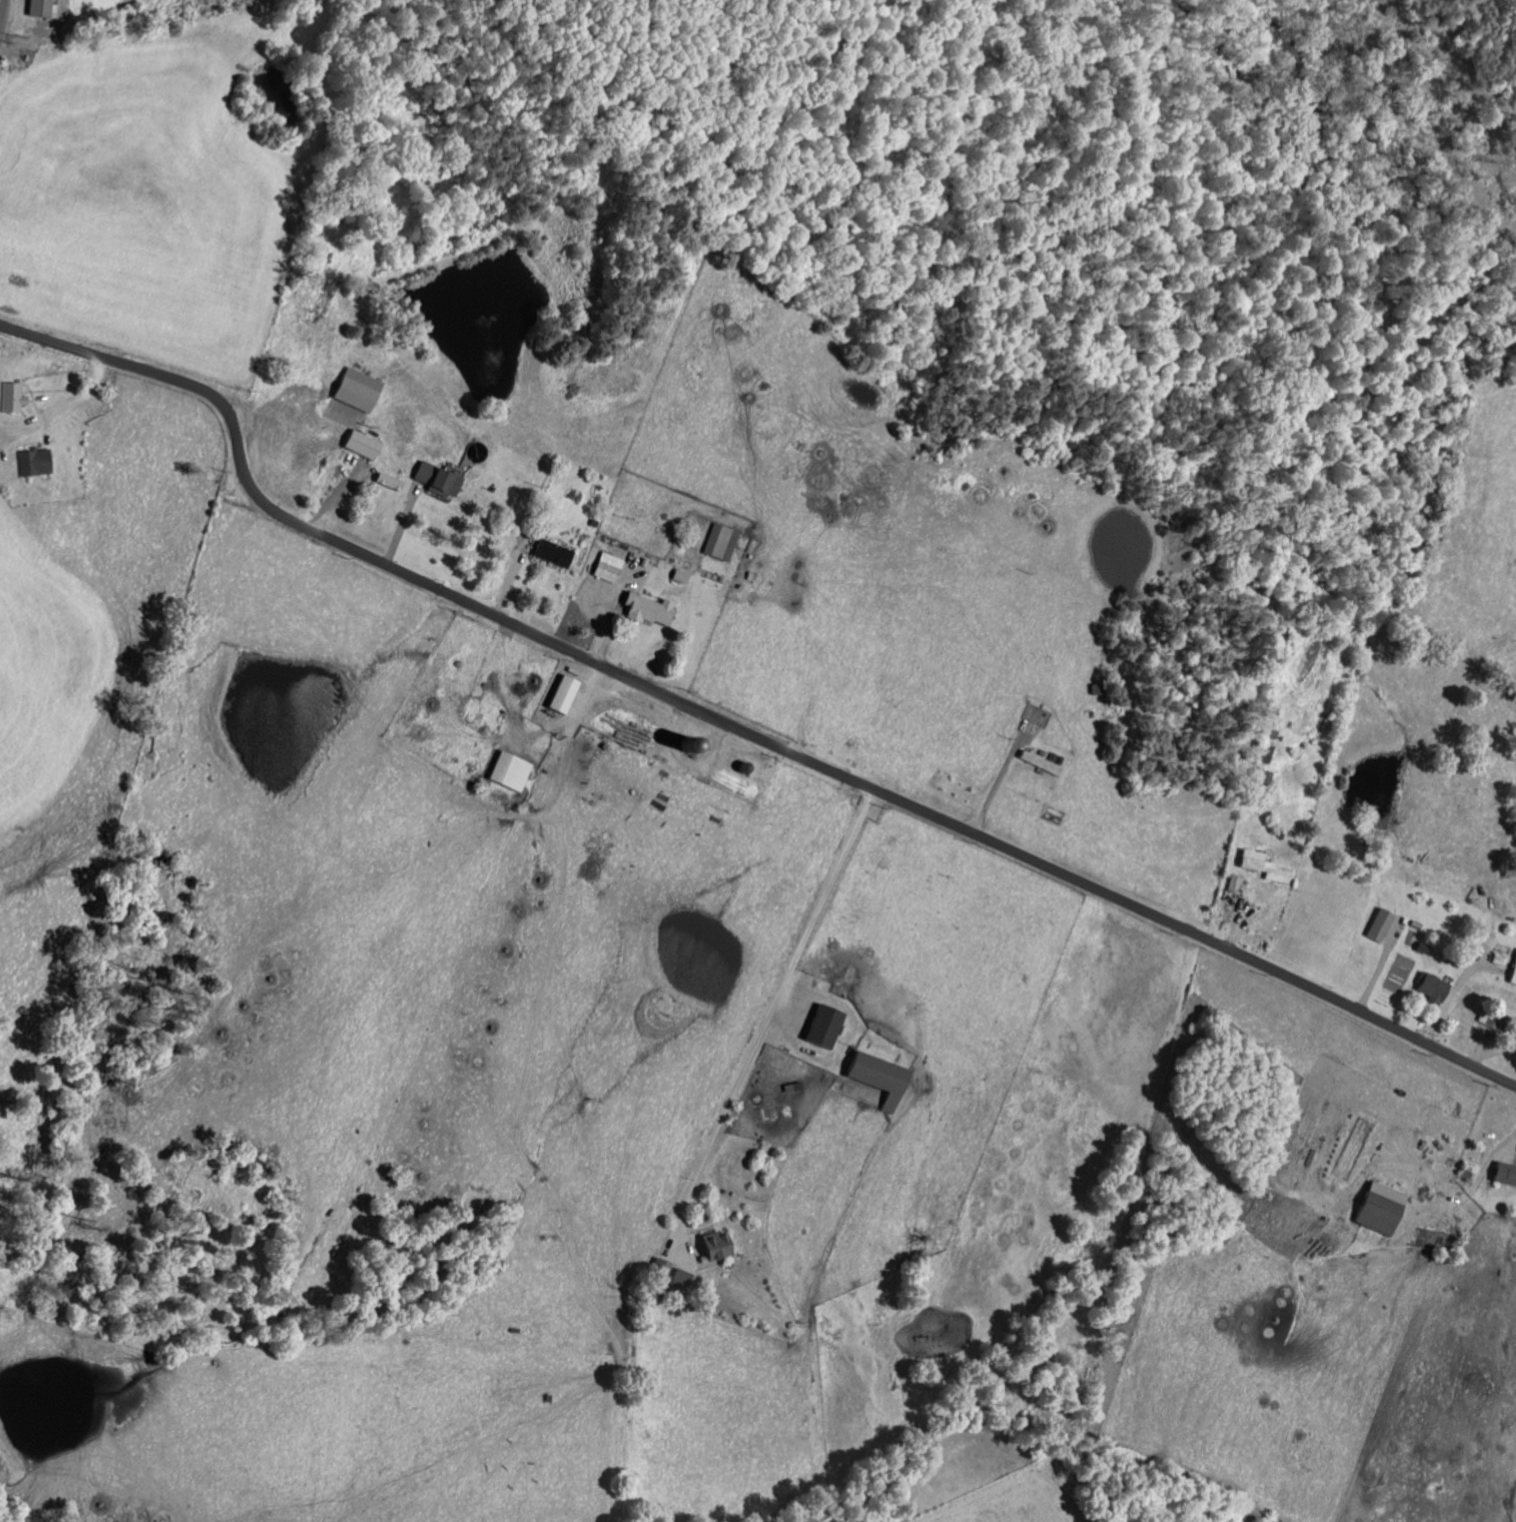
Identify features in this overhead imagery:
building: (35, 8)
road: (3, 13)
road: (41, 27)
building: (353, 390)
building: (11, 398)
road: (64, 408)
building: (359, 445)
building: (33, 462)
building: (432, 480)
building: (385, 482)
building: (719, 543)
building: (551, 553)
building: (607, 567)
building: (647, 610)
building: (561, 695)
road: (732, 727)
building: (1038, 763)
road: (994, 789)
building: (1263, 866)
building: (1233, 884)
road: (823, 900)
building: (1377, 924)
building: (1513, 971)
building: (1430, 987)
road: (1462, 1023)
building: (820, 1025)
building: (876, 1076)
building: (1504, 1174)
building: (1378, 1208)
building: (711, 1245)

